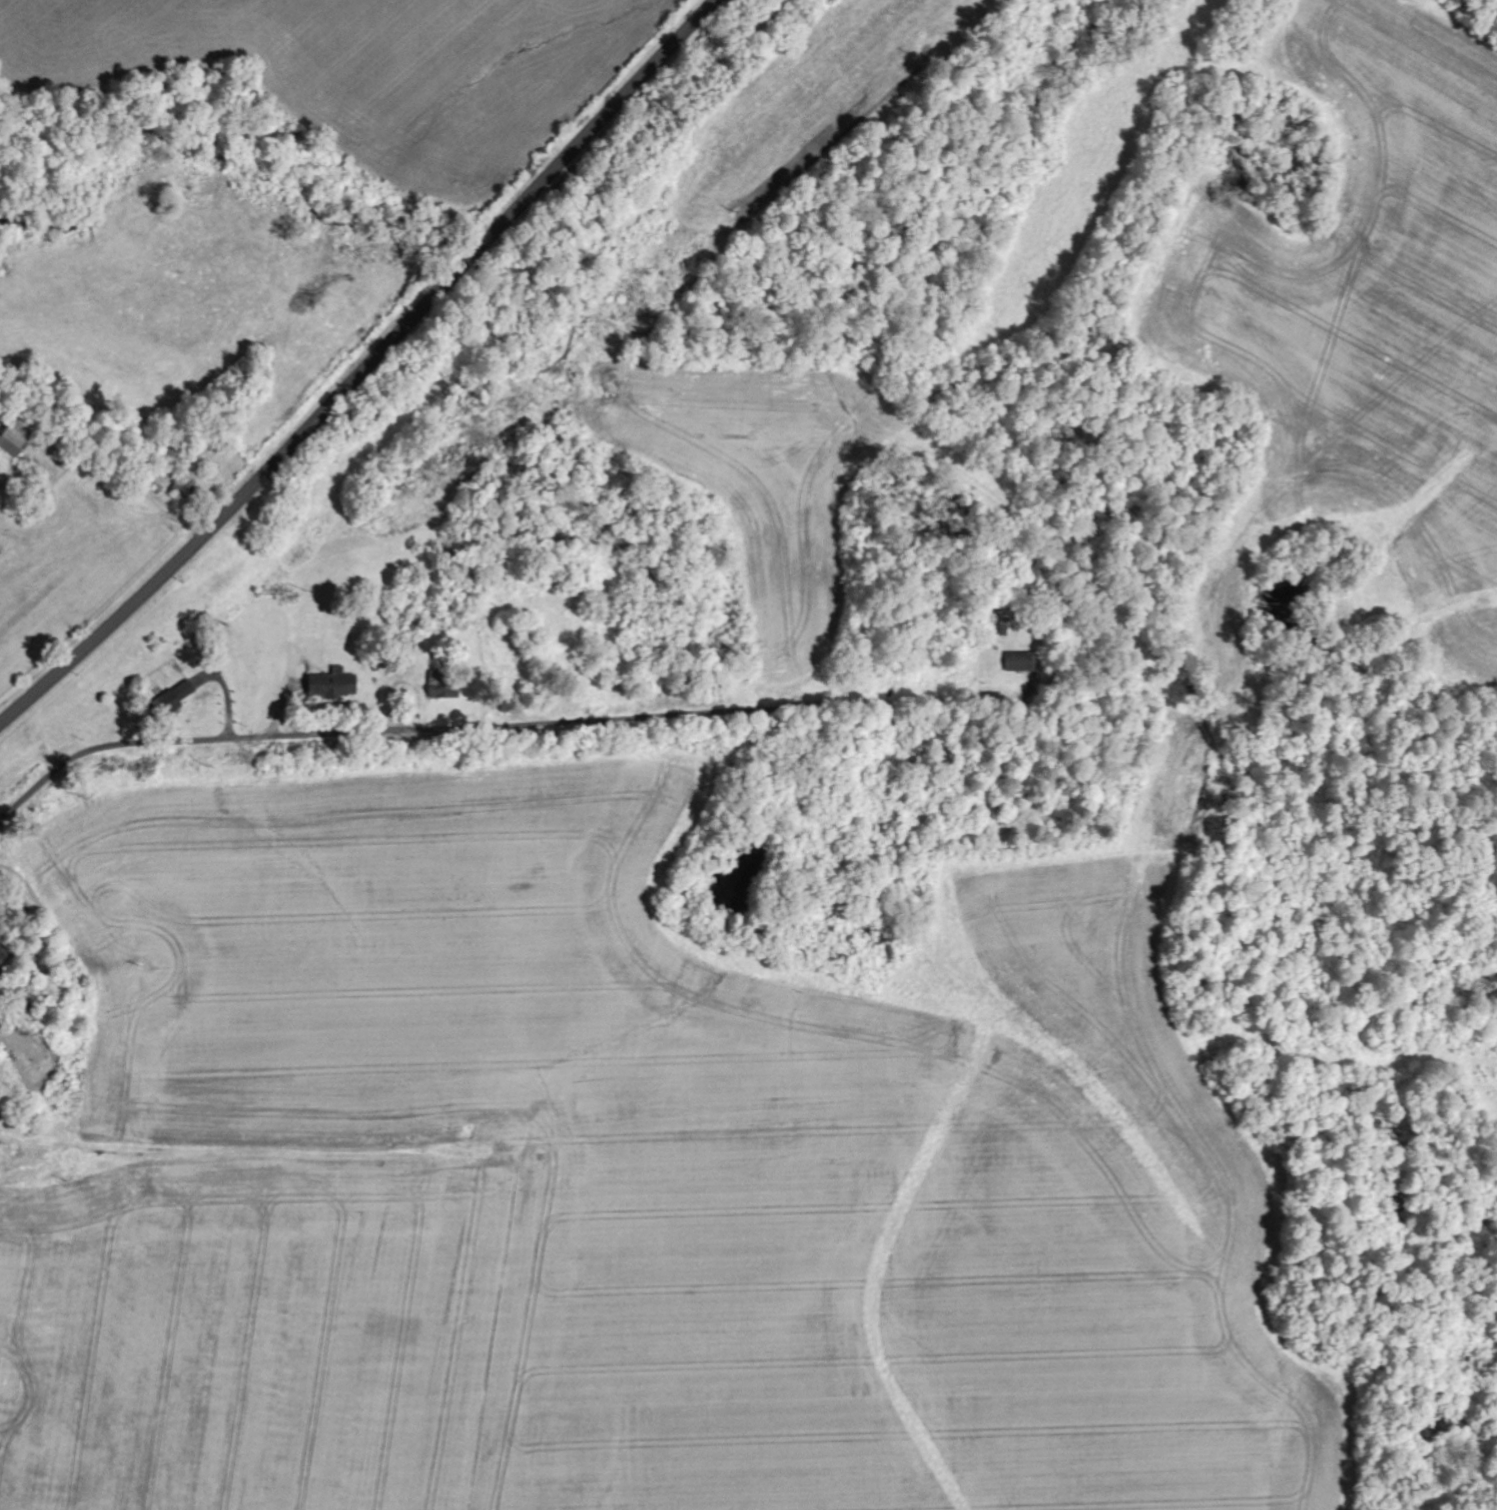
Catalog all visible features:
road: (364, 368)
building: (13, 444)
building: (187, 485)
building: (1020, 662)
building: (336, 685)
building: (179, 697)
road: (499, 727)

